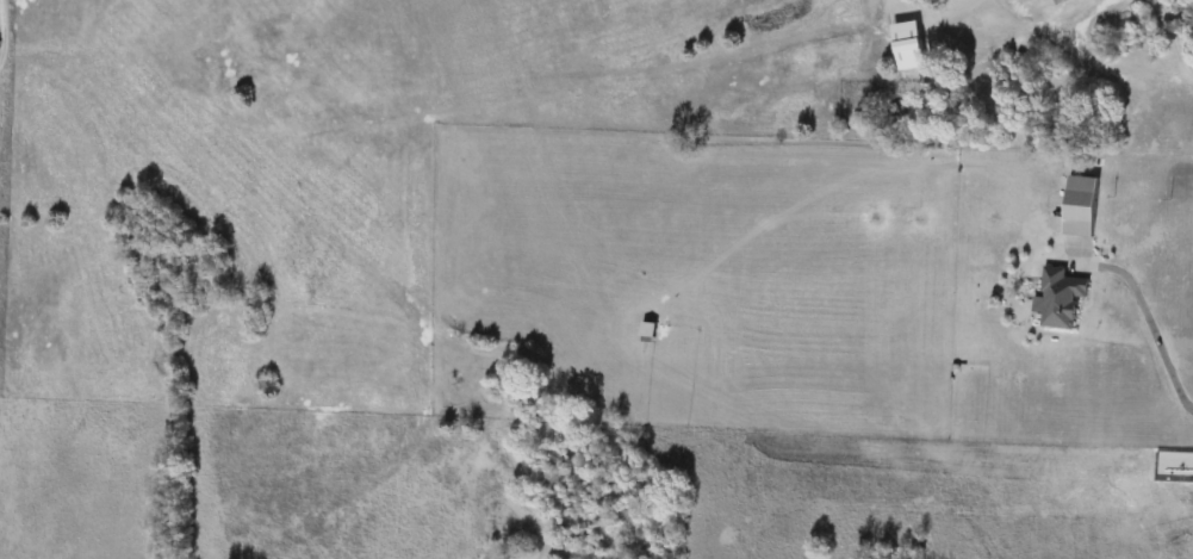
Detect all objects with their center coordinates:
building: (1060, 1)
road: (1174, 37)
building: (1082, 206)
building: (1061, 298)
road: (1149, 319)
building: (650, 329)

